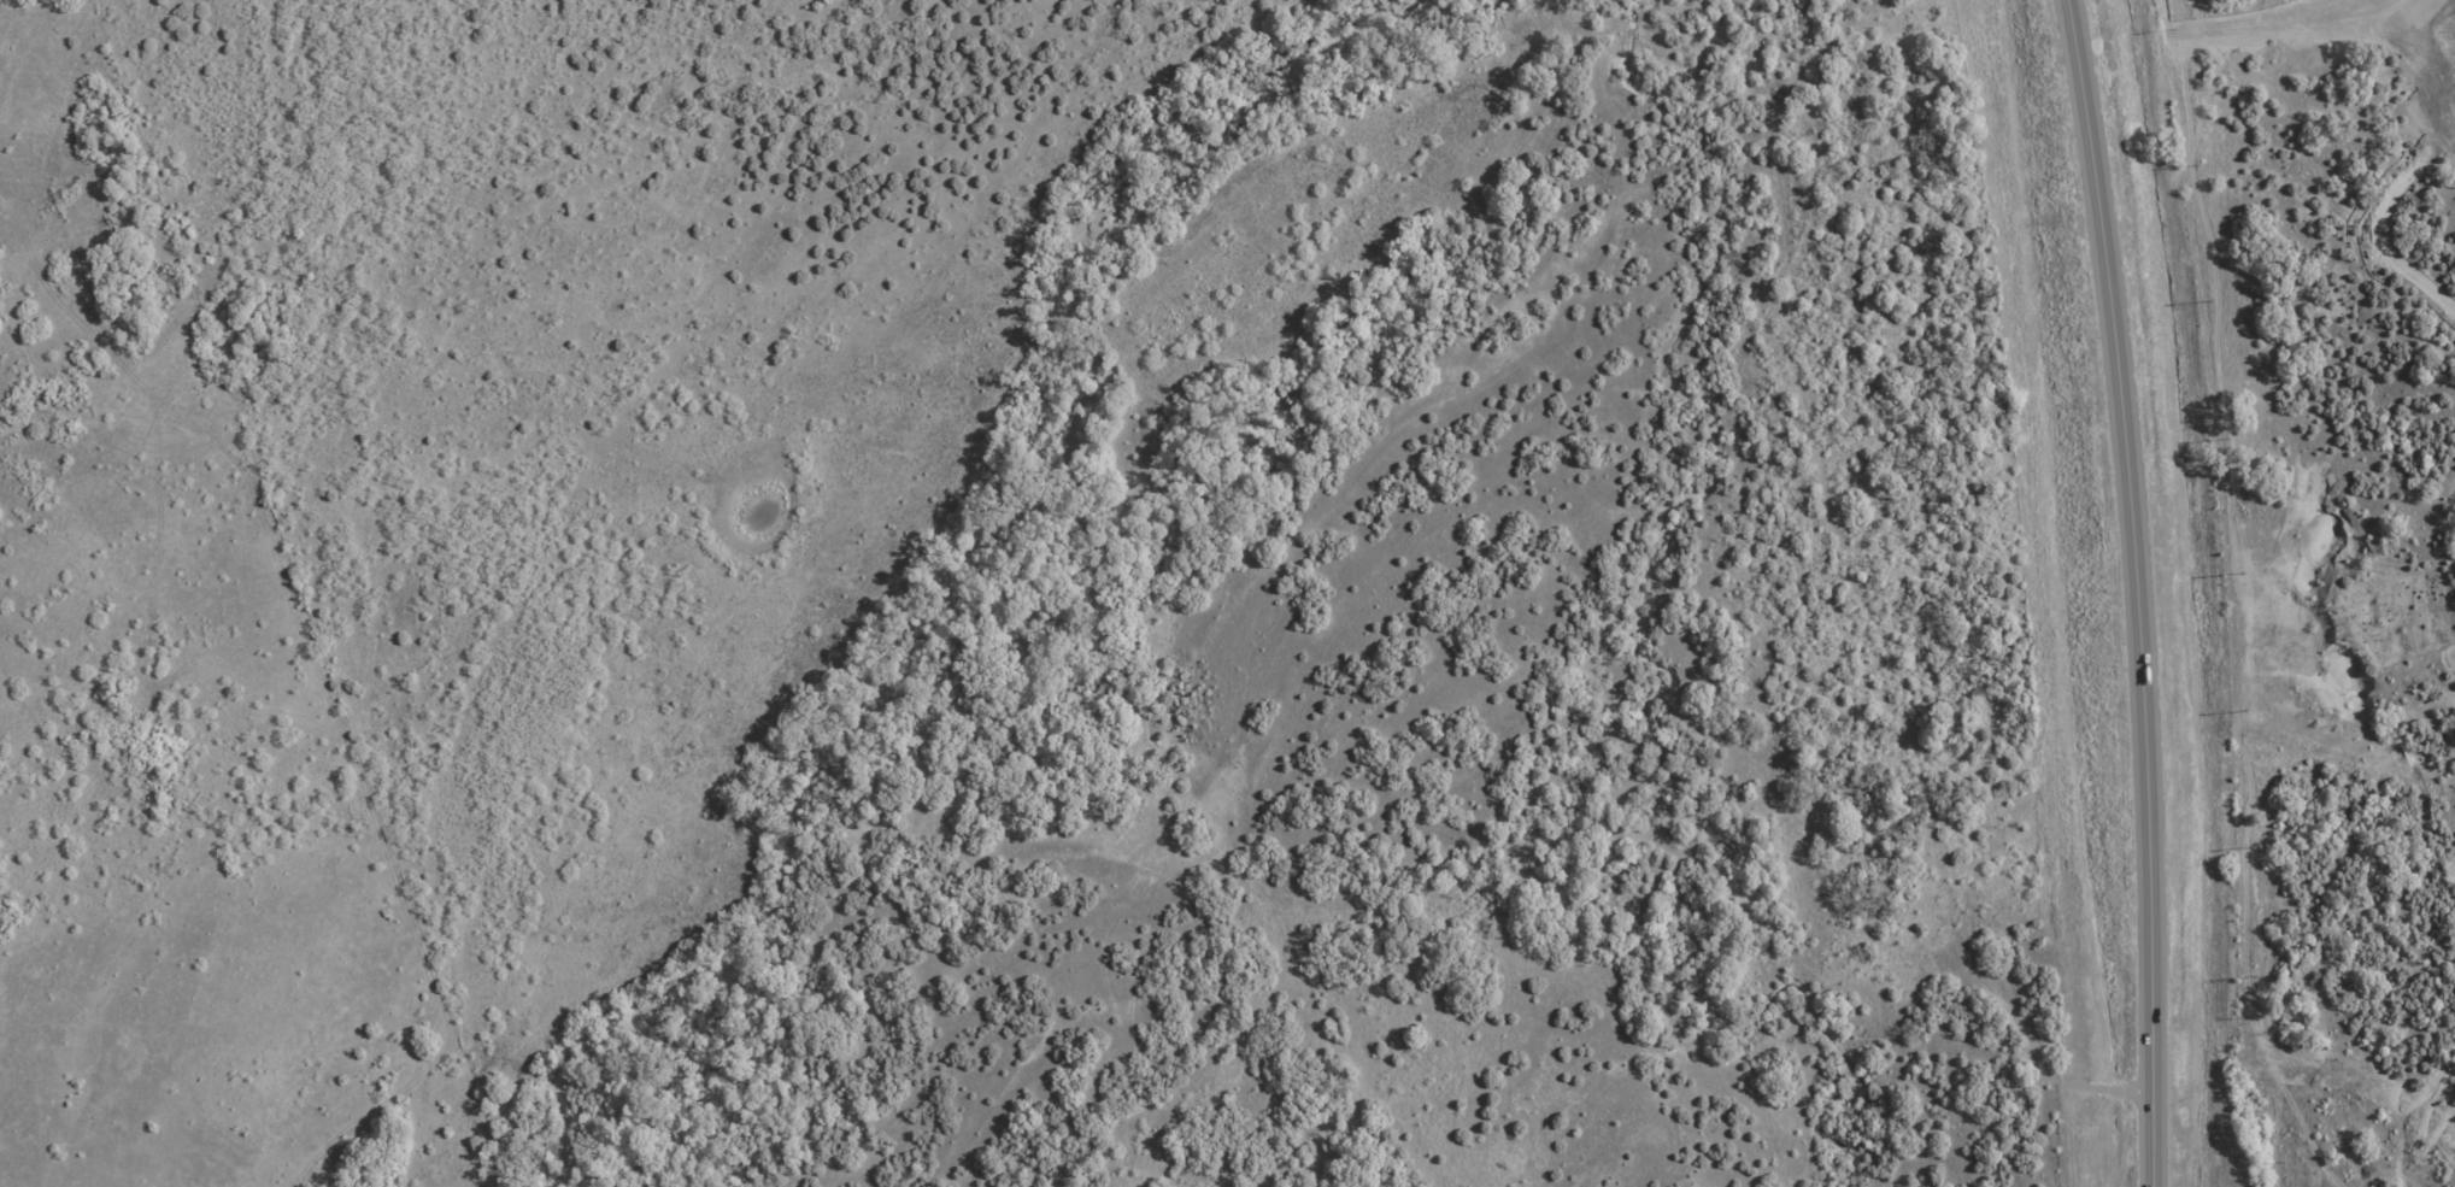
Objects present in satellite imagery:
road: (2137, 590)

